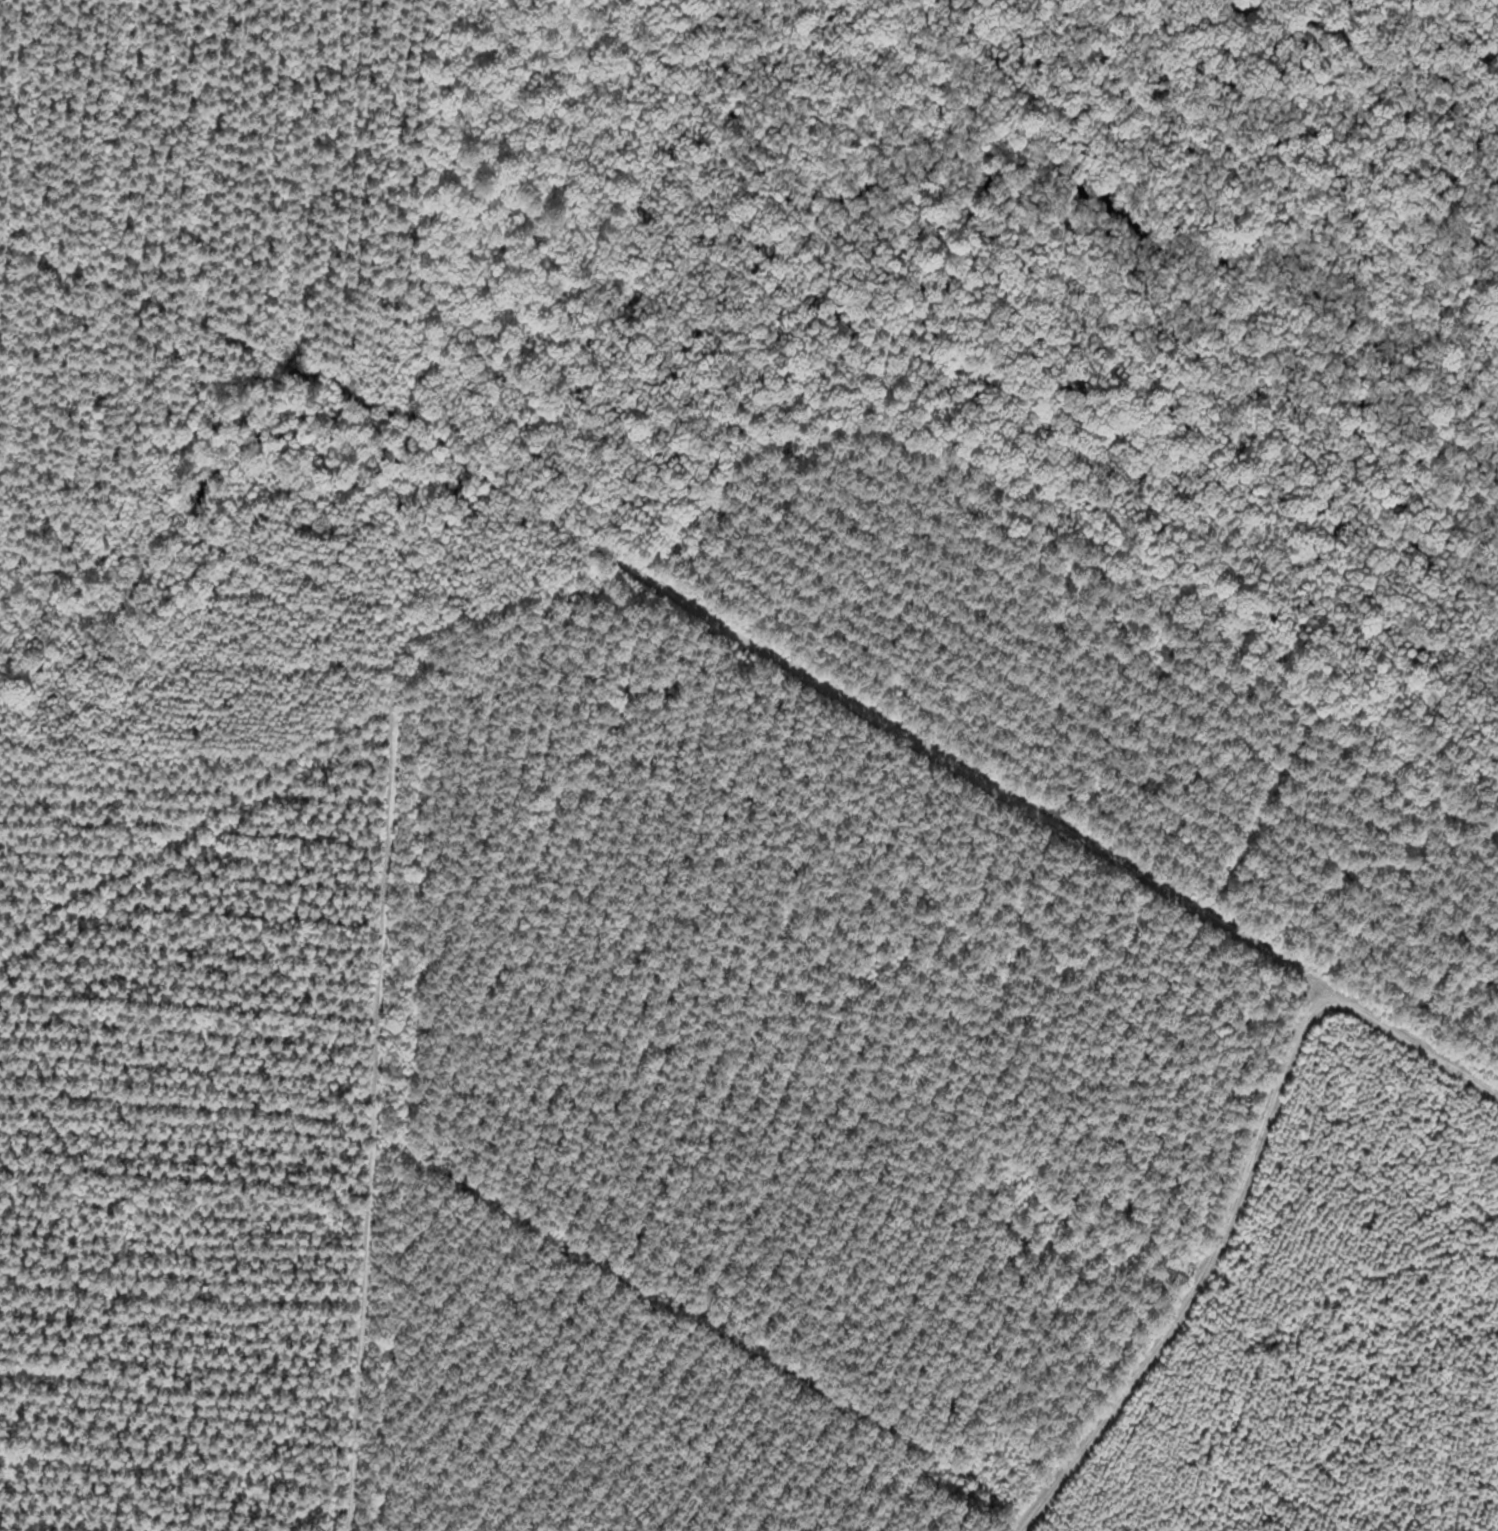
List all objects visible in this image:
road: (1242, 1195)

